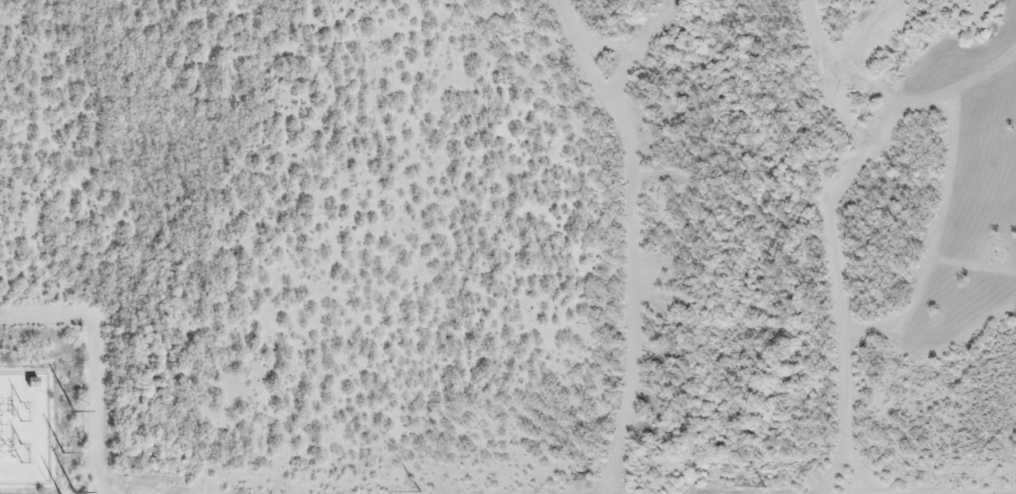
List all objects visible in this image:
power tower: (72, 410)
power substation: (24, 428)
power tower: (764, 486)
power tower: (419, 492)
power tower: (73, 493)

